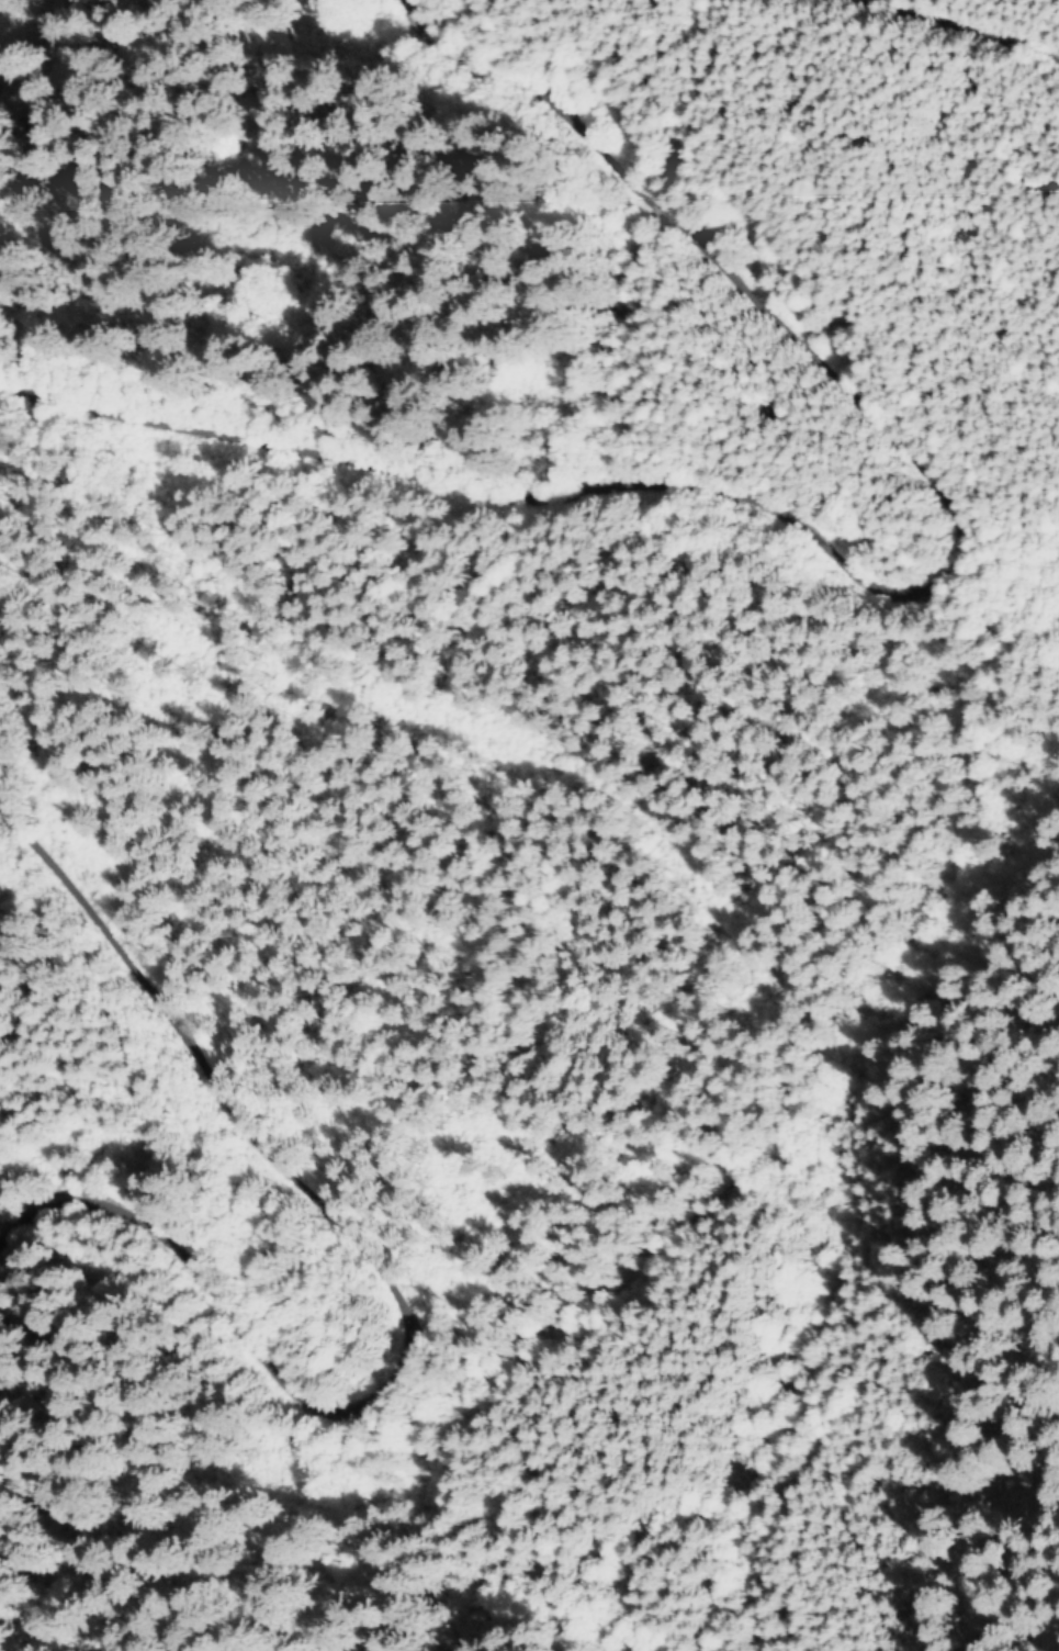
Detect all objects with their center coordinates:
road: (969, 44)
road: (821, 576)
road: (354, 1352)

